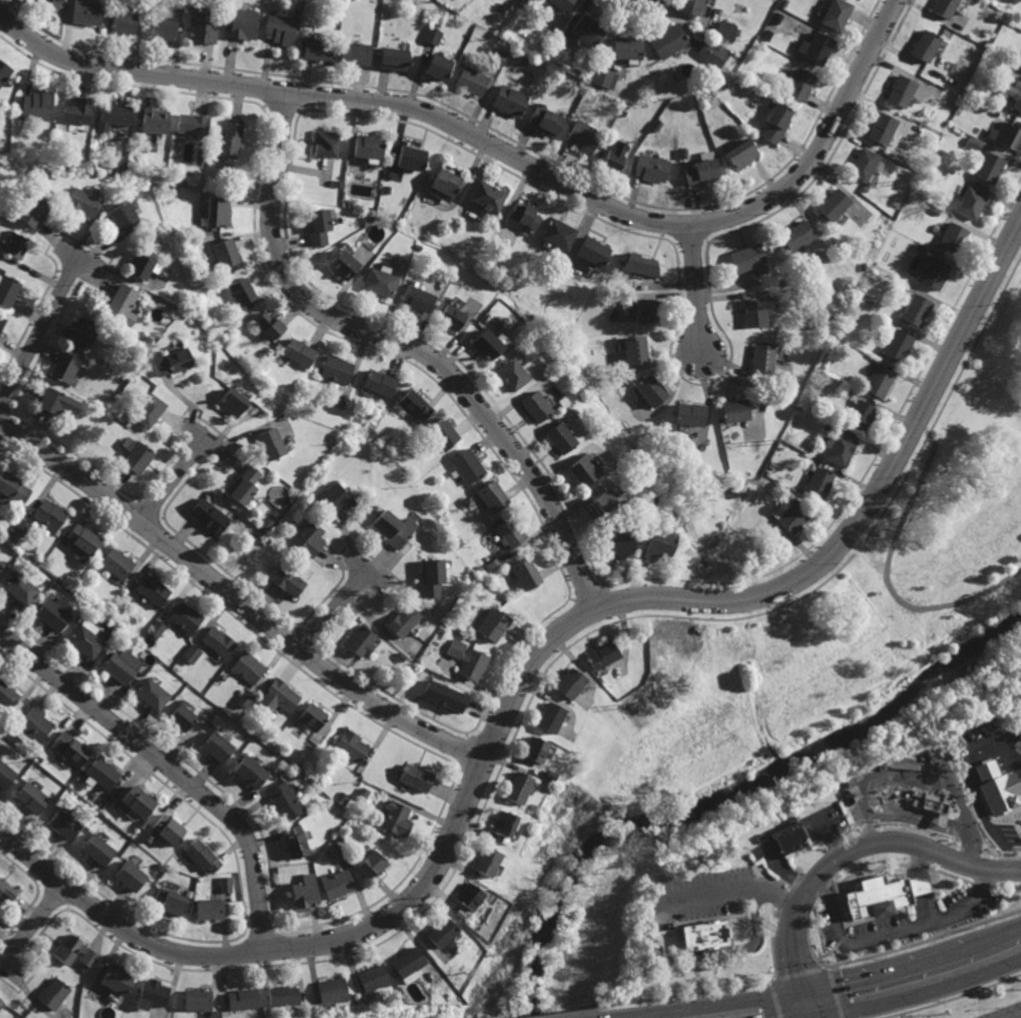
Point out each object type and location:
building: (51, 2)
building: (784, 3)
building: (564, 4)
building: (691, 6)
building: (942, 8)
building: (85, 11)
building: (297, 12)
building: (835, 14)
building: (123, 21)
building: (241, 24)
building: (200, 26)
building: (162, 29)
building: (280, 29)
building: (587, 30)
building: (724, 30)
building: (296, 33)
building: (766, 35)
building: (431, 36)
building: (666, 39)
building: (624, 46)
building: (316, 48)
building: (815, 48)
building: (923, 48)
building: (555, 49)
building: (712, 52)
building: (354, 53)
building: (498, 58)
building: (393, 59)
building: (1020, 65)
building: (437, 66)
building: (4, 72)
building: (603, 77)
building: (472, 81)
building: (799, 85)
building: (970, 87)
building: (900, 91)
building: (1008, 94)
building: (946, 97)
building: (510, 100)
building: (37, 106)
building: (77, 110)
building: (623, 113)
building: (994, 113)
building: (114, 114)
building: (546, 120)
building: (776, 122)
building: (152, 123)
building: (191, 125)
building: (880, 128)
building: (584, 135)
building: (1006, 136)
building: (226, 141)
building: (324, 142)
building: (973, 145)
building: (367, 146)
building: (150, 148)
road: (502, 149)
building: (684, 152)
building: (740, 153)
building: (616, 155)
building: (411, 157)
building: (862, 165)
building: (988, 166)
building: (651, 168)
building: (117, 169)
building: (702, 171)
building: (45, 176)
power tower: (915, 177)
building: (445, 181)
building: (335, 184)
building: (386, 189)
building: (864, 189)
building: (486, 195)
building: (83, 202)
building: (969, 204)
building: (831, 205)
building: (34, 210)
building: (217, 212)
building: (935, 212)
building: (525, 214)
building: (123, 217)
building: (366, 219)
building: (316, 226)
building: (559, 233)
building: (796, 235)
building: (950, 236)
building: (16, 245)
building: (416, 247)
building: (919, 248)
building: (594, 250)
building: (226, 254)
building: (748, 259)
building: (342, 263)
building: (642, 264)
building: (141, 267)
building: (863, 267)
building: (933, 273)
building: (378, 281)
building: (780, 283)
building: (220, 284)
road: (696, 288)
building: (8, 290)
building: (242, 291)
building: (416, 299)
building: (123, 303)
building: (915, 309)
building: (647, 311)
building: (755, 312)
building: (450, 317)
building: (821, 319)
building: (2, 323)
building: (267, 325)
building: (843, 328)
road: (41, 333)
building: (84, 333)
building: (147, 340)
road: (407, 343)
building: (895, 343)
building: (486, 344)
building: (637, 351)
building: (297, 352)
building: (763, 359)
building: (172, 362)
building: (67, 367)
building: (335, 369)
building: (511, 373)
building: (878, 381)
building: (377, 382)
building: (847, 390)
building: (652, 391)
building: (559, 401)
building: (57, 402)
building: (233, 402)
building: (413, 405)
building: (536, 406)
building: (116, 408)
building: (733, 410)
building: (149, 411)
building: (690, 414)
building: (860, 415)
building: (828, 427)
building: (442, 433)
building: (562, 436)
road: (923, 436)
power tower: (776, 439)
building: (270, 443)
building: (840, 450)
building: (139, 458)
building: (772, 464)
building: (466, 466)
building: (584, 469)
road: (175, 477)
building: (819, 483)
building: (244, 484)
building: (13, 489)
building: (628, 491)
building: (731, 491)
building: (339, 496)
building: (492, 497)
building: (650, 498)
building: (603, 504)
building: (51, 514)
building: (791, 515)
building: (210, 516)
building: (23, 528)
building: (391, 529)
building: (508, 532)
building: (309, 538)
building: (84, 541)
building: (622, 541)
building: (659, 543)
building: (117, 563)
building: (493, 563)
building: (2, 566)
building: (524, 573)
building: (430, 577)
building: (288, 580)
road: (891, 582)
building: (21, 589)
building: (153, 590)
road: (238, 598)
building: (445, 602)
road: (336, 610)
building: (55, 613)
building: (185, 616)
building: (403, 619)
building: (491, 623)
building: (157, 627)
building: (126, 636)
building: (219, 640)
building: (361, 640)
building: (86, 641)
building: (453, 646)
building: (428, 650)
building: (192, 652)
building: (600, 652)
building: (472, 662)
road: (528, 664)
building: (122, 665)
building: (248, 666)
park: (797, 675)
building: (568, 684)
building: (152, 693)
building: (443, 696)
building: (278, 697)
building: (246, 698)
building: (9, 699)
power tower: (639, 701)
building: (313, 717)
building: (182, 718)
building: (549, 719)
building: (34, 726)
building: (351, 746)
building: (218, 747)
building: (958, 748)
building: (69, 749)
building: (534, 751)
building: (301, 767)
road: (171, 769)
building: (251, 772)
building: (103, 774)
building: (6, 775)
building: (548, 777)
building: (415, 779)
road: (965, 779)
building: (987, 787)
building: (515, 789)
building: (361, 794)
building: (31, 797)
building: (341, 797)
building: (286, 800)
building: (137, 803)
building: (930, 804)
building: (530, 809)
building: (396, 820)
road: (919, 823)
building: (65, 824)
building: (142, 825)
building: (502, 825)
building: (168, 830)
building: (791, 834)
building: (339, 837)
building: (296, 841)
road: (855, 847)
building: (98, 850)
building: (202, 856)
road: (918, 861)
building: (485, 862)
building: (371, 865)
building: (304, 867)
building: (131, 876)
building: (337, 884)
building: (227, 885)
road: (919, 886)
building: (6, 889)
road: (733, 890)
building: (305, 893)
building: (876, 894)
building: (468, 897)
building: (171, 901)
road: (830, 904)
road: (924, 907)
building: (211, 909)
building: (462, 915)
road: (925, 921)
road: (32, 925)
building: (441, 933)
building: (704, 934)
building: (69, 950)
road: (697, 954)
building: (90, 958)
building: (407, 965)
building: (372, 978)
building: (117, 979)
road: (826, 988)
building: (333, 990)
traffic signals: (807, 993)
building: (53, 994)
building: (153, 994)
road: (921, 994)
building: (285, 995)
building: (199, 999)
building: (245, 999)
building: (1, 1001)
road: (809, 1005)
building: (182, 1014)
building: (215, 1014)
building: (271, 1016)

